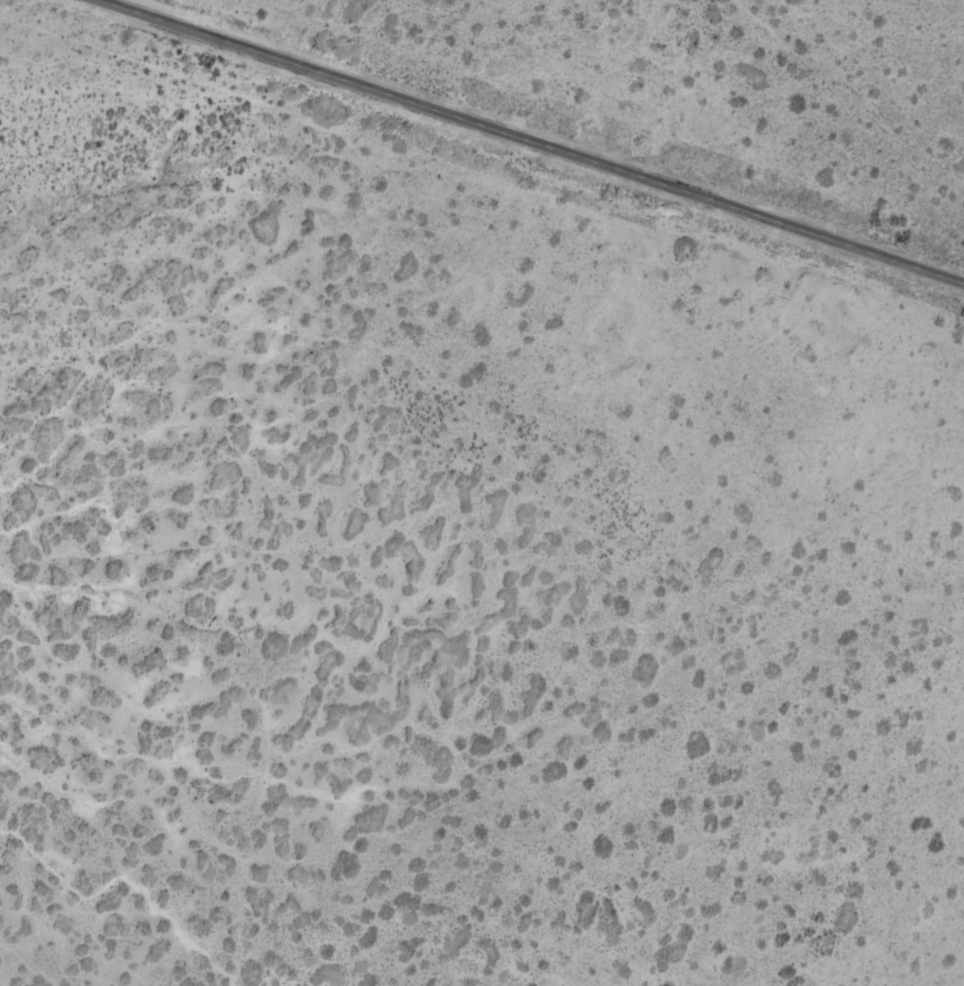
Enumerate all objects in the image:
road: (535, 140)

